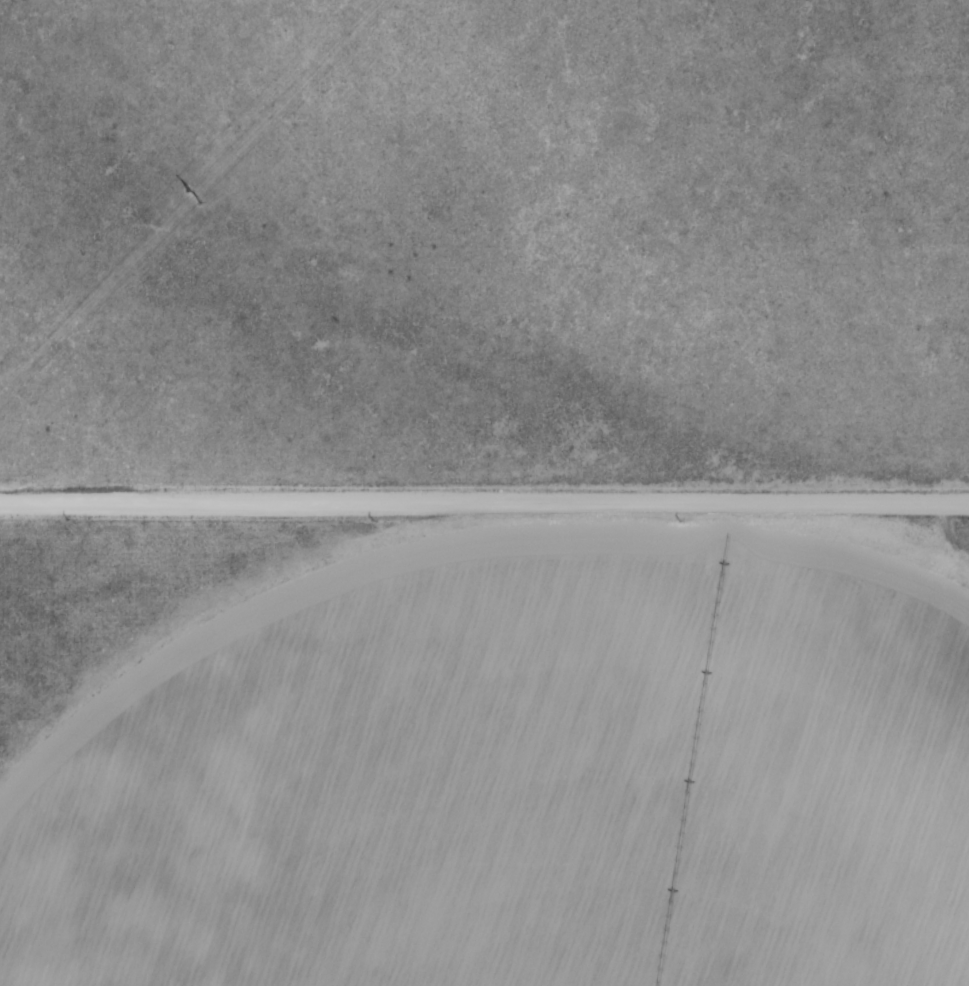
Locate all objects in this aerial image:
power tower: (192, 195)
road: (484, 509)

